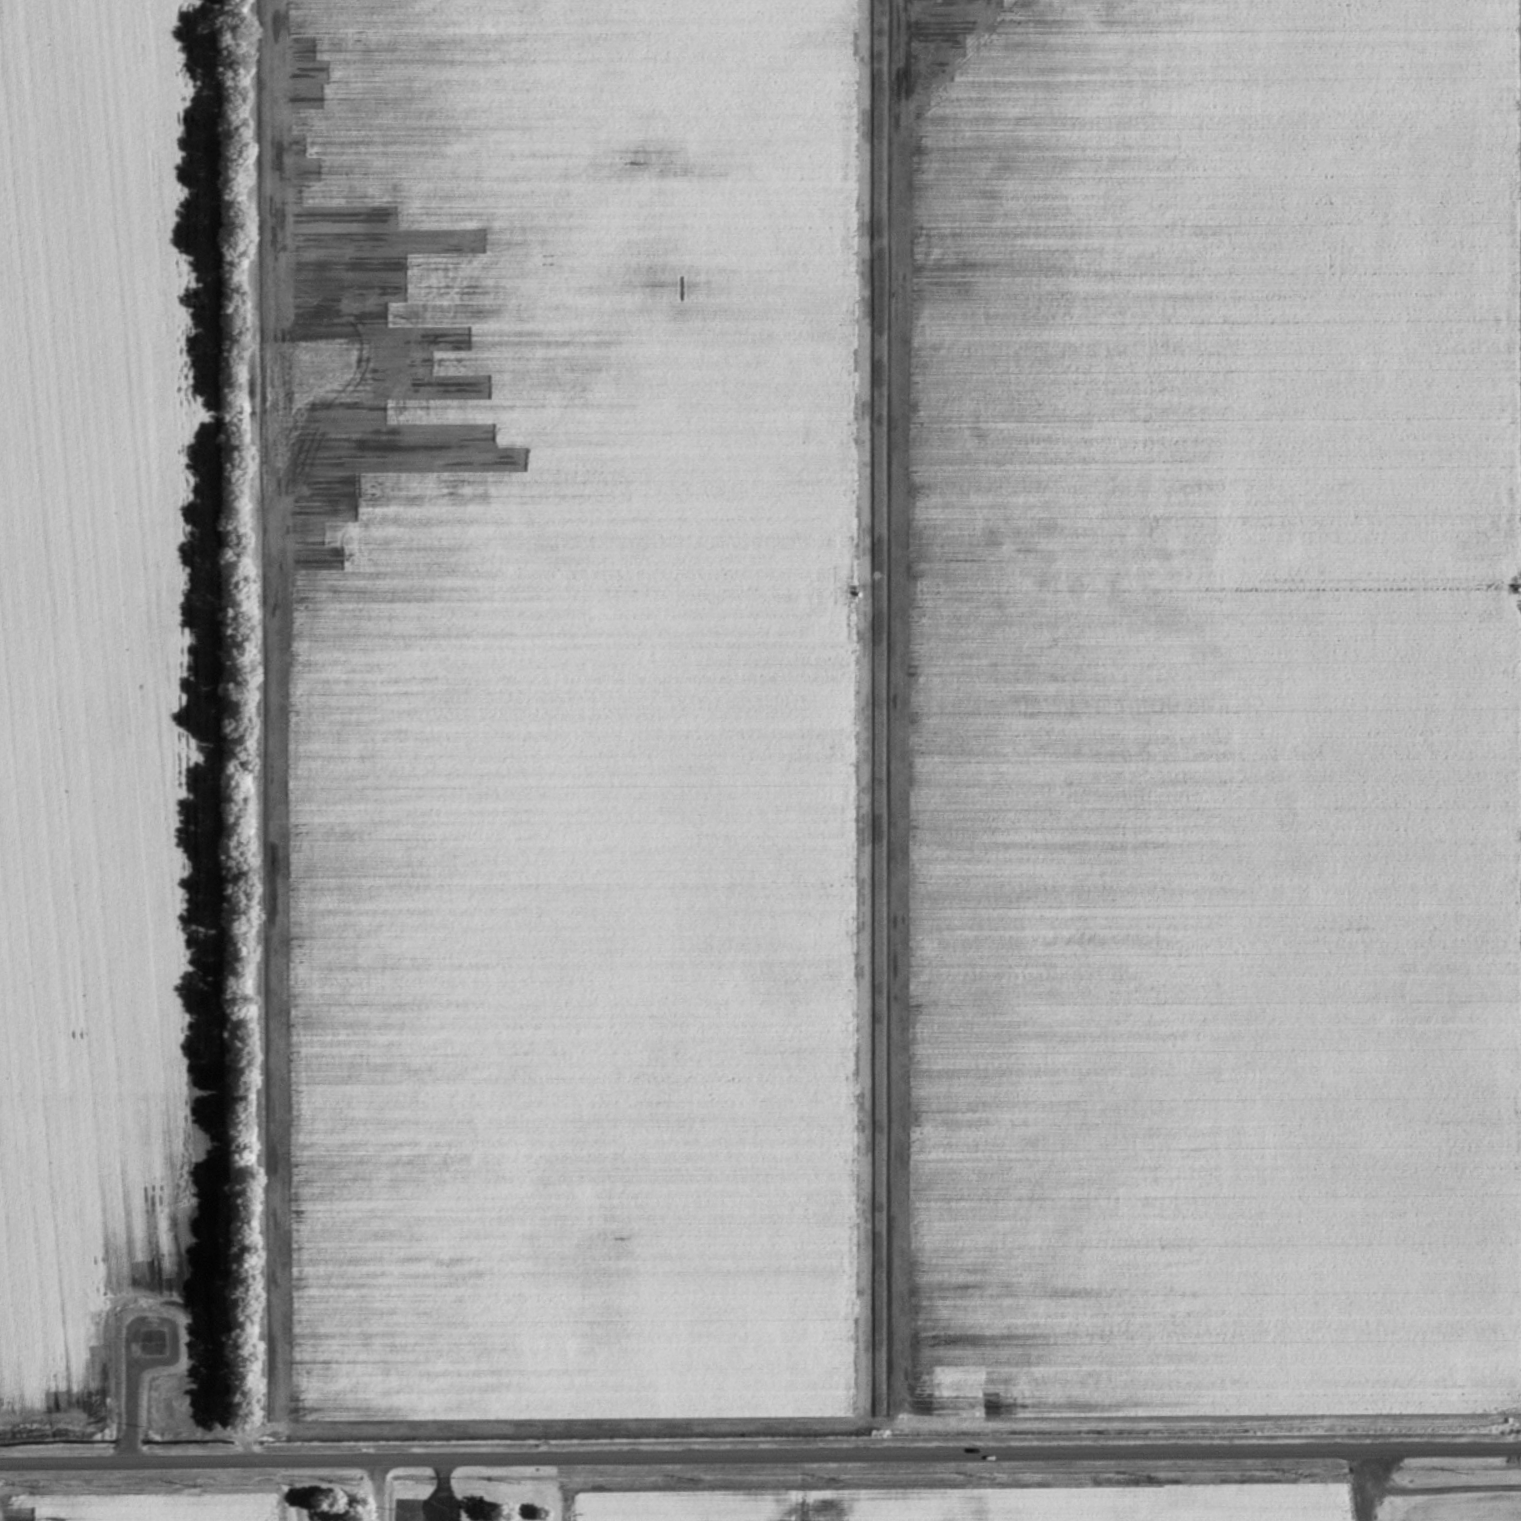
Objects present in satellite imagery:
road: (760, 1453)
road: (379, 1489)
road: (444, 1489)

